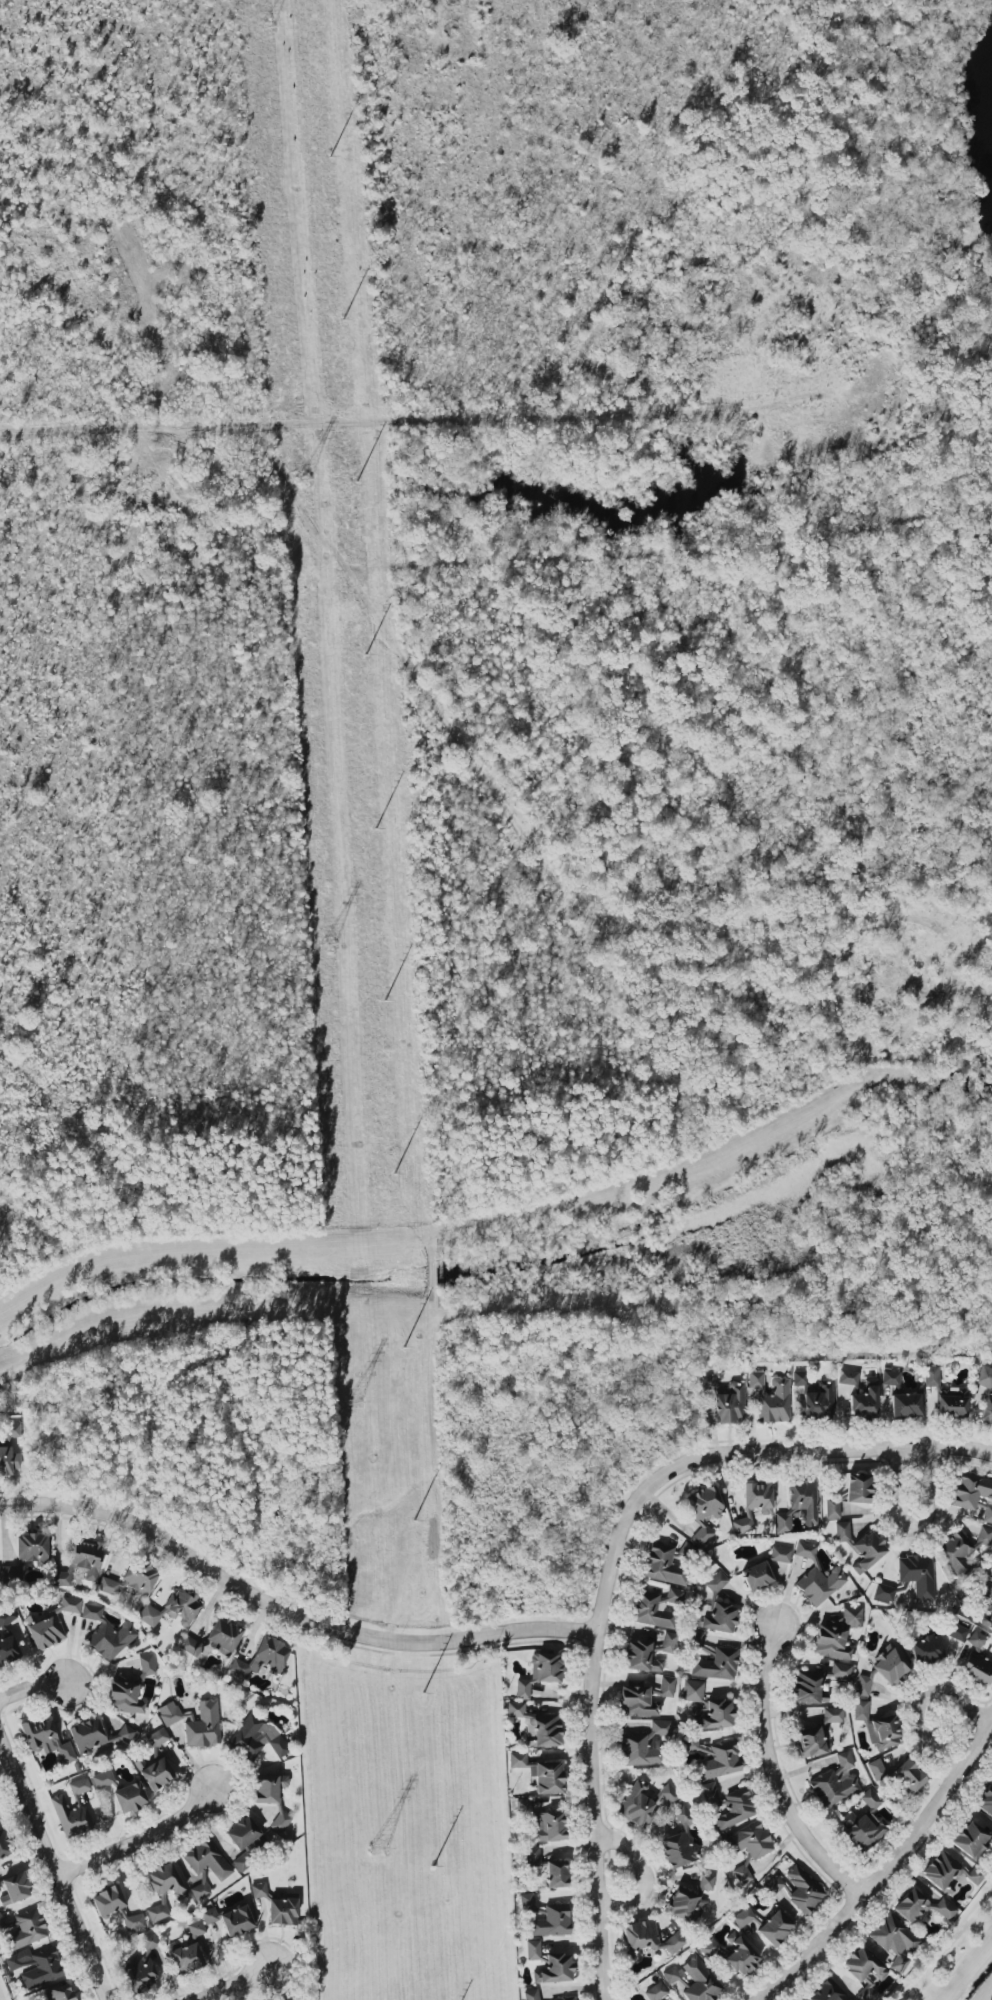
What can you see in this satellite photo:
power tower: (266, 27)
river: (987, 126)
road: (351, 414)
power tower: (304, 475)
road: (582, 560)
road: (567, 884)
power tower: (328, 941)
building: (930, 1376)
building: (847, 1378)
building: (890, 1378)
building: (984, 1378)
building: (709, 1382)
building: (771, 1398)
building: (814, 1399)
power tower: (353, 1400)
building: (865, 1402)
building: (951, 1403)
building: (729, 1405)
building: (905, 1405)
building: (987, 1409)
road: (736, 1452)
building: (8, 1461)
building: (858, 1488)
building: (974, 1494)
building: (758, 1496)
building: (799, 1505)
building: (832, 1507)
building: (703, 1511)
road: (912, 1522)
building: (742, 1523)
building: (805, 1550)
building: (28, 1552)
building: (780, 1554)
building: (82, 1561)
building: (664, 1566)
building: (917, 1575)
building: (756, 1576)
building: (131, 1582)
building: (716, 1582)
building: (819, 1584)
building: (883, 1594)
building: (69, 1605)
building: (645, 1607)
building: (172, 1609)
road: (287, 1610)
building: (7, 1617)
building: (719, 1618)
building: (986, 1619)
building: (46, 1632)
building: (957, 1632)
building: (107, 1634)
building: (836, 1634)
building: (224, 1636)
building: (697, 1640)
building: (669, 1642)
building: (190, 1645)
building: (925, 1646)
building: (8, 1650)
building: (641, 1657)
building: (263, 1658)
building: (977, 1661)
building: (890, 1664)
building: (716, 1665)
building: (546, 1668)
building: (840, 1671)
road: (32, 1685)
building: (805, 1686)
building: (863, 1686)
building: (523, 1689)
building: (692, 1691)
building: (644, 1698)
road: (918, 1702)
building: (515, 1709)
building: (860, 1710)
building: (169, 1713)
building: (713, 1714)
building: (833, 1715)
building: (203, 1726)
building: (546, 1731)
building: (883, 1732)
building: (97, 1737)
building: (157, 1738)
building: (255, 1739)
building: (46, 1740)
building: (811, 1742)
building: (643, 1745)
building: (696, 1747)
building: (517, 1760)
building: (719, 1761)
building: (876, 1769)
building: (154, 1772)
road: (773, 1776)
building: (546, 1777)
building: (907, 1777)
building: (102, 1779)
building: (835, 1782)
building: (79, 1786)
building: (269, 1788)
building: (669, 1795)
building: (710, 1795)
building: (130, 1797)
building: (985, 1799)
building: (637, 1805)
building: (735, 1810)
building: (70, 1817)
road: (592, 1817)
building: (280, 1822)
building: (863, 1824)
building: (548, 1826)
building: (242, 1832)
road: (142, 1835)
building: (676, 1839)
building: (749, 1840)
building: (970, 1840)
building: (3, 1844)
power tower: (377, 1848)
building: (533, 1856)
building: (207, 1861)
building: (243, 1861)
road: (60, 1862)
road: (888, 1868)
road: (642, 1872)
building: (948, 1872)
building: (556, 1873)
building: (742, 1874)
building: (165, 1880)
building: (773, 1885)
building: (15, 1889)
building: (258, 1890)
building: (802, 1890)
building: (199, 1891)
building: (689, 1900)
building: (107, 1901)
building: (528, 1904)
building: (922, 1907)
building: (282, 1911)
building: (157, 1912)
building: (209, 1915)
building: (743, 1917)
building: (236, 1920)
building: (134, 1921)
building: (551, 1921)
building: (195, 1926)
building: (774, 1928)
building: (894, 1935)
building: (648, 1939)
road: (943, 1943)
building: (710, 1949)
building: (741, 1956)
building: (904, 1957)
building: (186, 1958)
building: (549, 1964)
building: (35, 1967)
building: (143, 1967)
building: (864, 1972)
building: (672, 1974)
road: (231, 1977)
building: (700, 1981)
building: (656, 1992)
building: (828, 1992)
building: (59, 1993)
building: (531, 1995)
building: (565, 1998)

